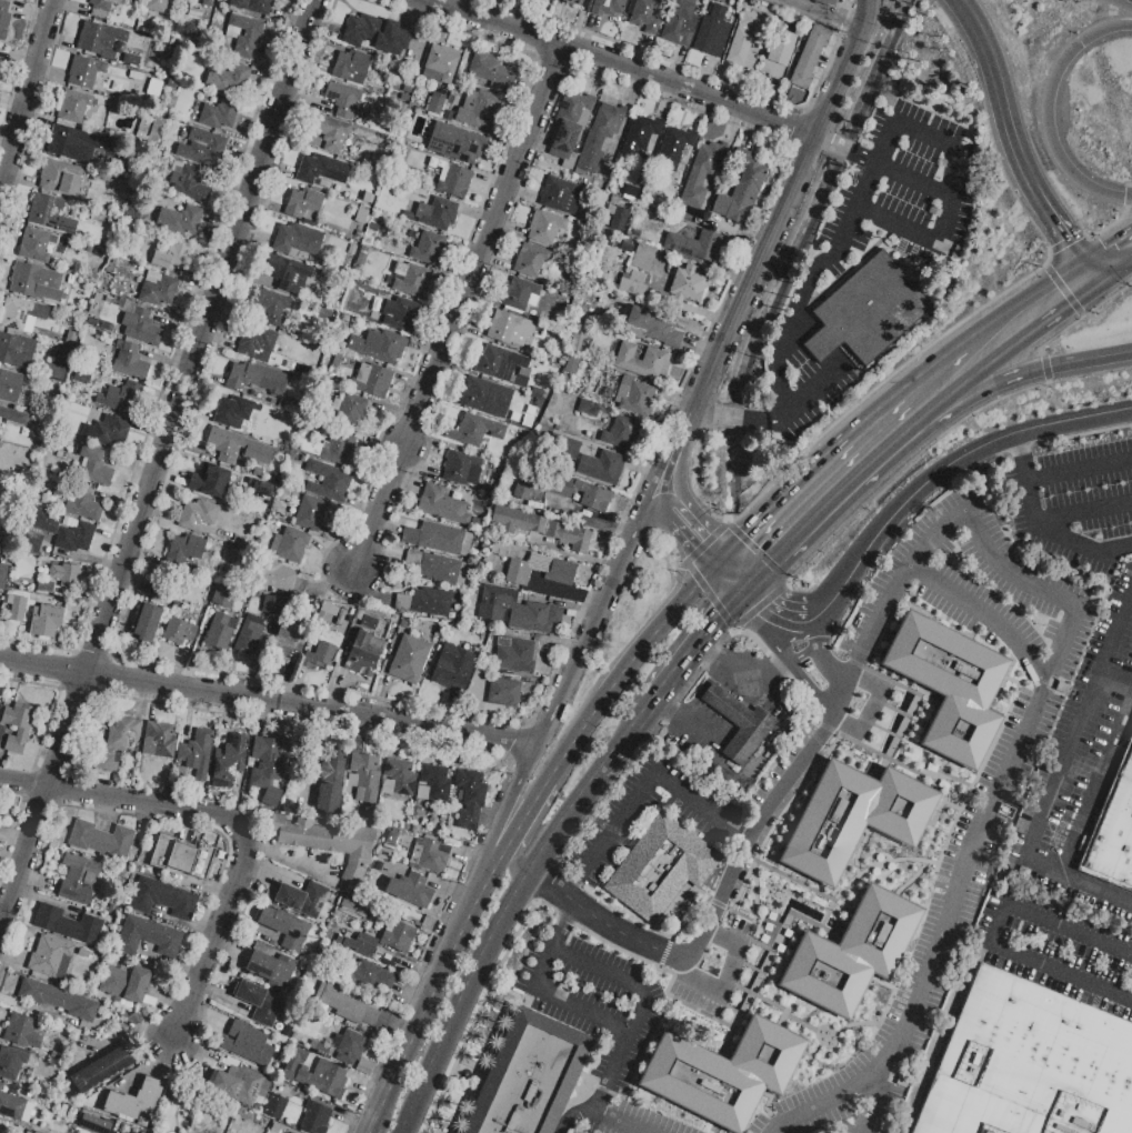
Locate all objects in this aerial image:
building: (207, 2)
building: (572, 2)
building: (825, 2)
building: (156, 6)
building: (102, 7)
building: (254, 7)
building: (607, 7)
building: (645, 14)
road: (818, 17)
building: (3, 19)
building: (679, 23)
building: (712, 32)
building: (244, 34)
building: (374, 34)
building: (99, 38)
building: (747, 39)
traffic signals: (1083, 44)
building: (778, 54)
building: (809, 57)
building: (130, 60)
building: (440, 64)
building: (351, 67)
road: (608, 68)
building: (490, 69)
building: (83, 72)
building: (231, 80)
building: (154, 88)
road: (27, 93)
building: (342, 98)
building: (77, 106)
building: (435, 106)
building: (479, 109)
road: (1051, 112)
building: (219, 114)
building: (447, 116)
building: (143, 126)
building: (570, 127)
building: (154, 129)
building: (331, 132)
road: (1013, 136)
building: (640, 137)
building: (599, 138)
building: (455, 143)
building: (68, 144)
building: (201, 147)
building: (675, 149)
road: (845, 150)
road: (955, 161)
building: (321, 169)
building: (701, 172)
building: (58, 178)
building: (453, 181)
building: (189, 183)
road: (1130, 184)
building: (741, 190)
building: (630, 193)
building: (83, 194)
road: (1126, 194)
building: (560, 195)
building: (365, 197)
building: (303, 204)
road: (784, 204)
building: (435, 212)
building: (50, 213)
building: (361, 215)
building: (617, 218)
building: (179, 220)
building: (544, 227)
road: (1106, 228)
building: (128, 230)
road: (918, 235)
building: (297, 239)
road: (1065, 242)
building: (38, 245)
building: (695, 245)
building: (627, 247)
building: (88, 248)
building: (351, 249)
building: (428, 249)
building: (99, 251)
building: (587, 252)
building: (170, 255)
building: (642, 257)
road: (1111, 257)
building: (530, 260)
building: (116, 267)
road: (1088, 267)
street lamp: (1036, 268)
traffic signals: (1090, 270)
building: (288, 273)
parking lot: (815, 273)
building: (70, 279)
building: (410, 280)
road: (811, 281)
building: (37, 283)
street lamp: (1130, 283)
building: (633, 284)
building: (687, 284)
building: (158, 288)
road: (1062, 290)
building: (520, 295)
building: (267, 308)
road: (1029, 308)
building: (612, 309)
building: (866, 311)
building: (535, 313)
building: (21, 314)
building: (400, 314)
road: (461, 314)
building: (140, 327)
building: (653, 327)
building: (509, 329)
building: (70, 337)
building: (578, 341)
building: (256, 343)
building: (337, 344)
building: (379, 345)
building: (16, 350)
building: (57, 352)
building: (67, 355)
building: (129, 361)
building: (335, 361)
building: (642, 361)
building: (495, 363)
building: (573, 365)
building: (680, 365)
building: (307, 369)
building: (56, 372)
building: (81, 374)
road: (942, 375)
road: (1021, 377)
building: (254, 378)
building: (373, 380)
road: (883, 380)
building: (9, 387)
road: (809, 394)
building: (634, 395)
building: (485, 397)
building: (121, 398)
building: (294, 407)
building: (588, 408)
building: (348, 409)
building: (534, 409)
building: (231, 411)
road: (964, 418)
road: (732, 419)
building: (3, 421)
building: (61, 422)
road: (1131, 423)
building: (475, 431)
building: (111, 432)
building: (621, 432)
building: (278, 440)
building: (570, 443)
building: (328, 445)
building: (237, 448)
road: (1015, 448)
road: (678, 449)
road: (958, 459)
building: (92, 465)
road: (1079, 465)
road: (163, 467)
building: (601, 467)
building: (461, 469)
building: (209, 481)
building: (327, 481)
building: (557, 487)
road: (824, 487)
building: (264, 490)
building: (82, 503)
building: (442, 504)
road: (1083, 512)
building: (309, 513)
building: (197, 514)
road: (647, 515)
building: (540, 528)
building: (63, 530)
road: (699, 532)
road: (1050, 534)
building: (231, 538)
building: (438, 539)
traffic signals: (704, 539)
road: (707, 542)
building: (31, 543)
building: (289, 544)
building: (498, 549)
road: (757, 550)
traffic signals: (763, 551)
building: (182, 552)
building: (197, 566)
building: (227, 569)
building: (438, 569)
building: (541, 570)
building: (63, 574)
building: (2, 575)
building: (281, 576)
building: (44, 586)
building: (187, 586)
road: (943, 588)
building: (160, 593)
road: (753, 593)
road: (709, 595)
building: (223, 596)
building: (424, 602)
building: (270, 604)
building: (184, 605)
road: (759, 605)
road: (825, 606)
building: (16, 608)
traffic signals: (763, 608)
building: (515, 611)
building: (325, 614)
traffic signals: (719, 616)
building: (46, 620)
road: (789, 621)
building: (144, 622)
building: (369, 622)
building: (179, 632)
road: (815, 632)
building: (219, 633)
building: (249, 634)
road: (773, 638)
road: (587, 641)
road: (703, 641)
building: (285, 642)
building: (322, 650)
building: (521, 652)
road: (803, 653)
building: (362, 654)
building: (409, 660)
road: (629, 661)
building: (454, 669)
road: (828, 669)
road: (732, 670)
road: (767, 670)
road: (1116, 680)
road: (869, 685)
building: (949, 685)
road: (811, 690)
building: (502, 693)
road: (270, 698)
road: (780, 703)
road: (684, 720)
building: (738, 723)
building: (17, 725)
building: (1, 731)
road: (632, 733)
building: (158, 740)
building: (117, 742)
building: (197, 752)
building: (228, 762)
road: (1015, 762)
building: (1126, 763)
building: (266, 770)
building: (363, 778)
building: (398, 778)
road: (1059, 781)
road: (1096, 781)
road: (24, 782)
building: (330, 782)
building: (432, 783)
road: (650, 786)
building: (470, 798)
road: (149, 802)
road: (514, 803)
building: (371, 813)
road: (524, 813)
building: (854, 818)
road: (759, 822)
building: (1112, 839)
building: (390, 840)
building: (101, 841)
building: (327, 842)
building: (384, 854)
building: (430, 855)
road: (495, 856)
road: (515, 856)
building: (180, 858)
road: (283, 858)
building: (380, 866)
building: (660, 868)
building: (78, 879)
building: (410, 890)
road: (572, 891)
building: (302, 899)
building: (163, 900)
building: (353, 909)
building: (113, 910)
road: (571, 914)
building: (68, 925)
road: (605, 925)
building: (283, 928)
road: (995, 933)
road: (712, 934)
building: (397, 935)
building: (148, 936)
road: (561, 938)
road: (216, 939)
road: (493, 941)
building: (363, 945)
road: (698, 946)
road: (557, 951)
building: (851, 954)
building: (88, 955)
building: (50, 957)
building: (270, 969)
building: (365, 975)
road: (722, 977)
building: (126, 983)
road: (430, 996)
building: (58, 1000)
building: (260, 1002)
building: (347, 1007)
building: (22, 1031)
building: (287, 1031)
building: (248, 1044)
building: (348, 1046)
building: (11, 1062)
building: (293, 1063)
building: (230, 1064)
building: (1030, 1064)
building: (101, 1070)
building: (722, 1073)
building: (527, 1076)
building: (323, 1079)
building: (118, 1085)
building: (240, 1085)
building: (14, 1092)
road: (840, 1096)
building: (133, 1100)
road: (598, 1100)
building: (12, 1106)
building: (274, 1107)
road: (577, 1116)
building: (314, 1117)
building: (93, 1124)
building: (274, 1129)
road: (371, 1131)

